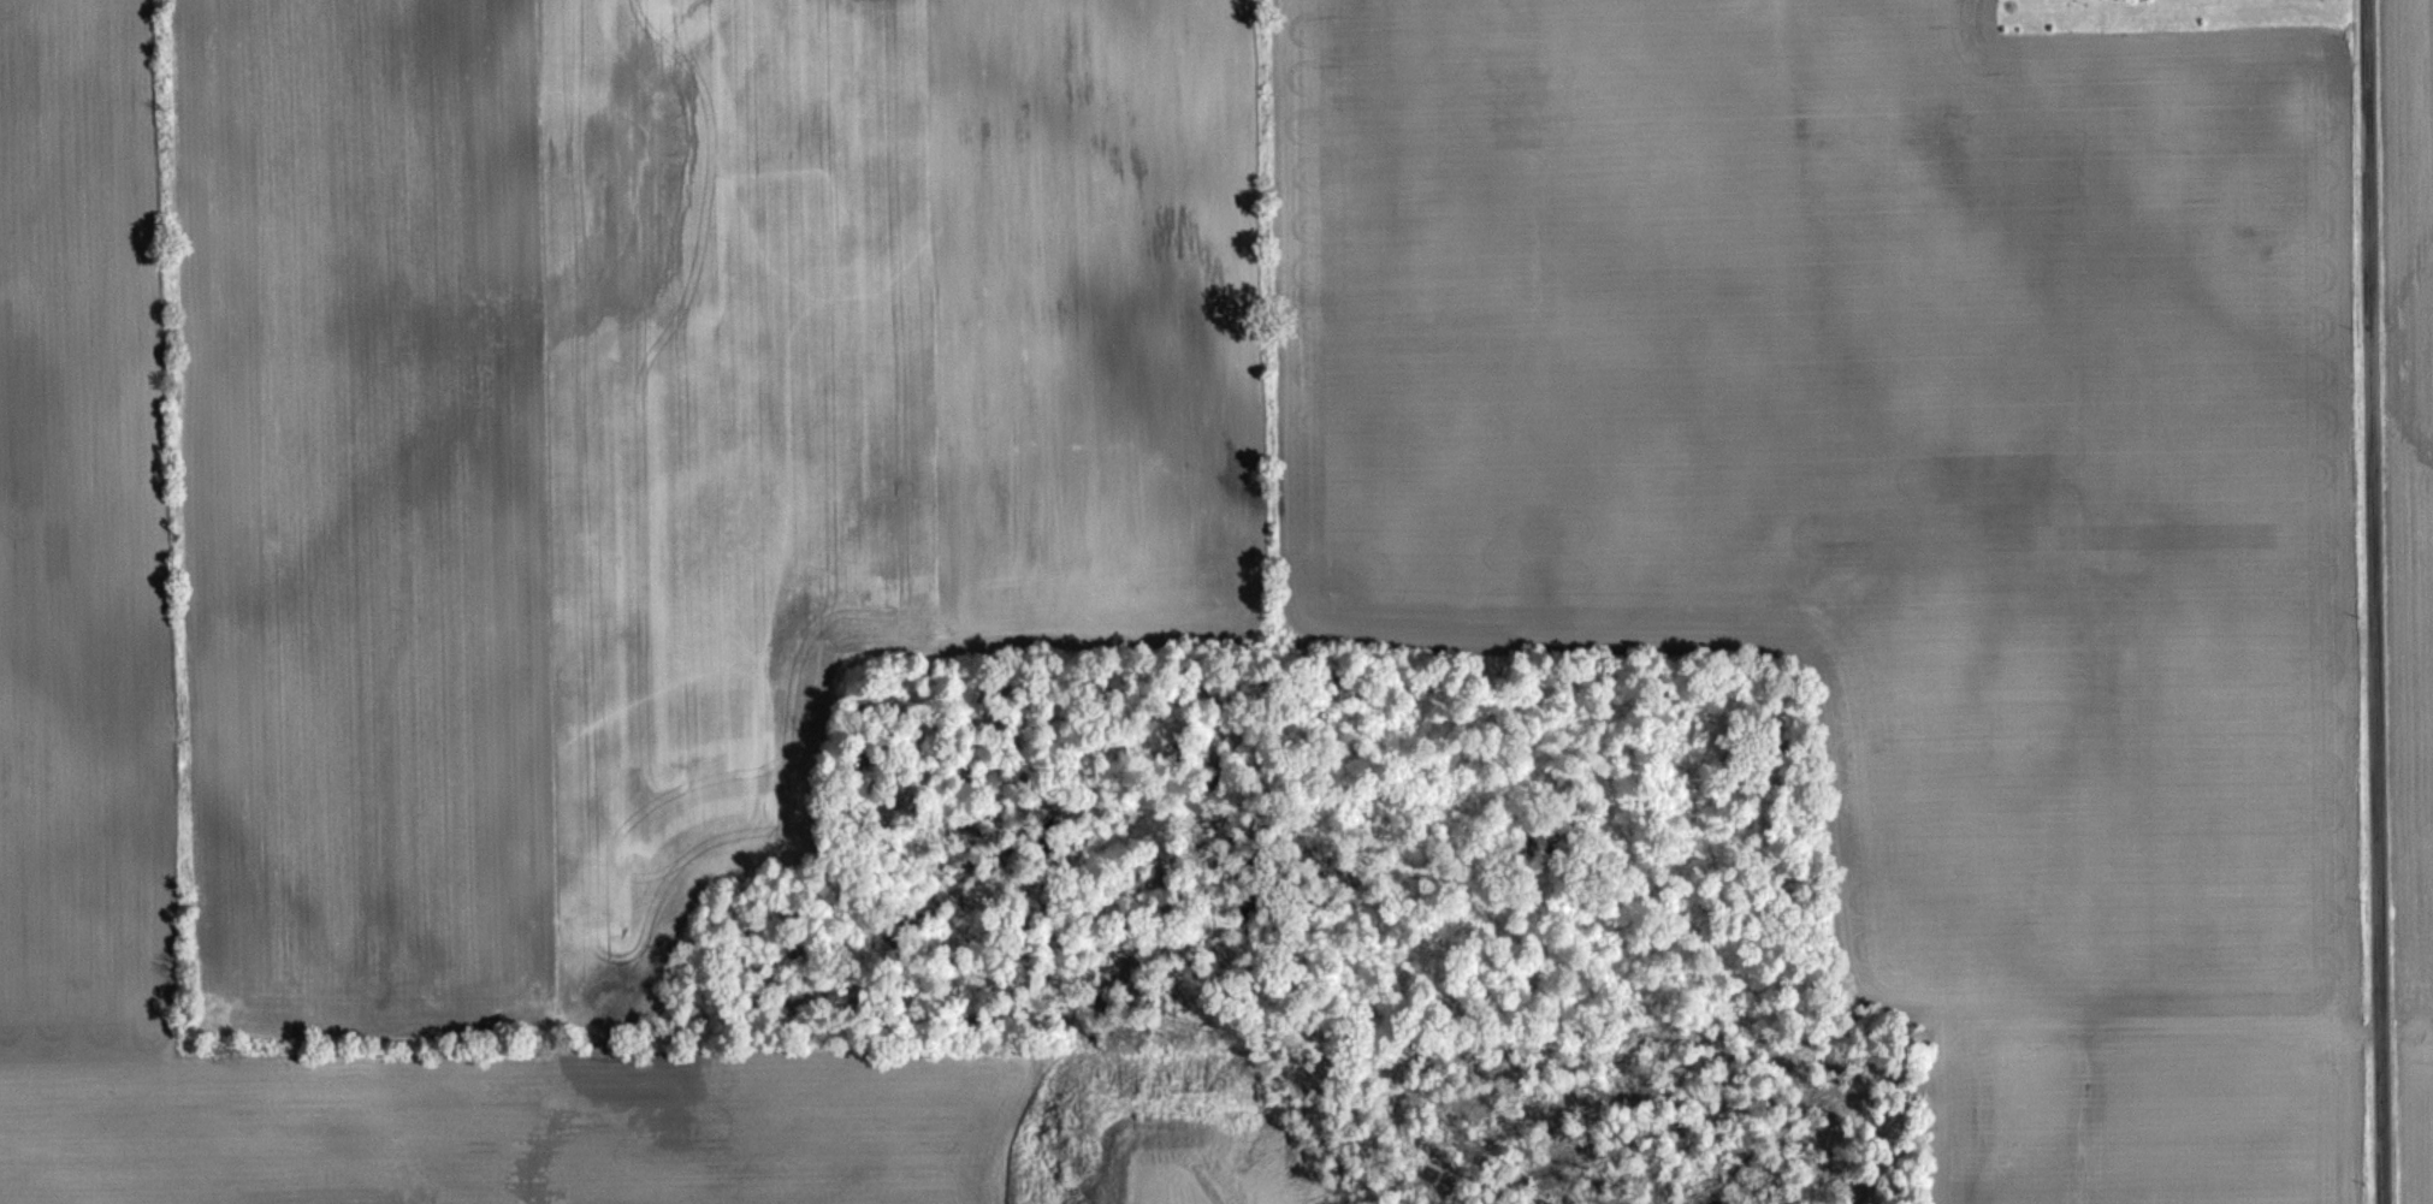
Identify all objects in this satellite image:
road: (2370, 601)

